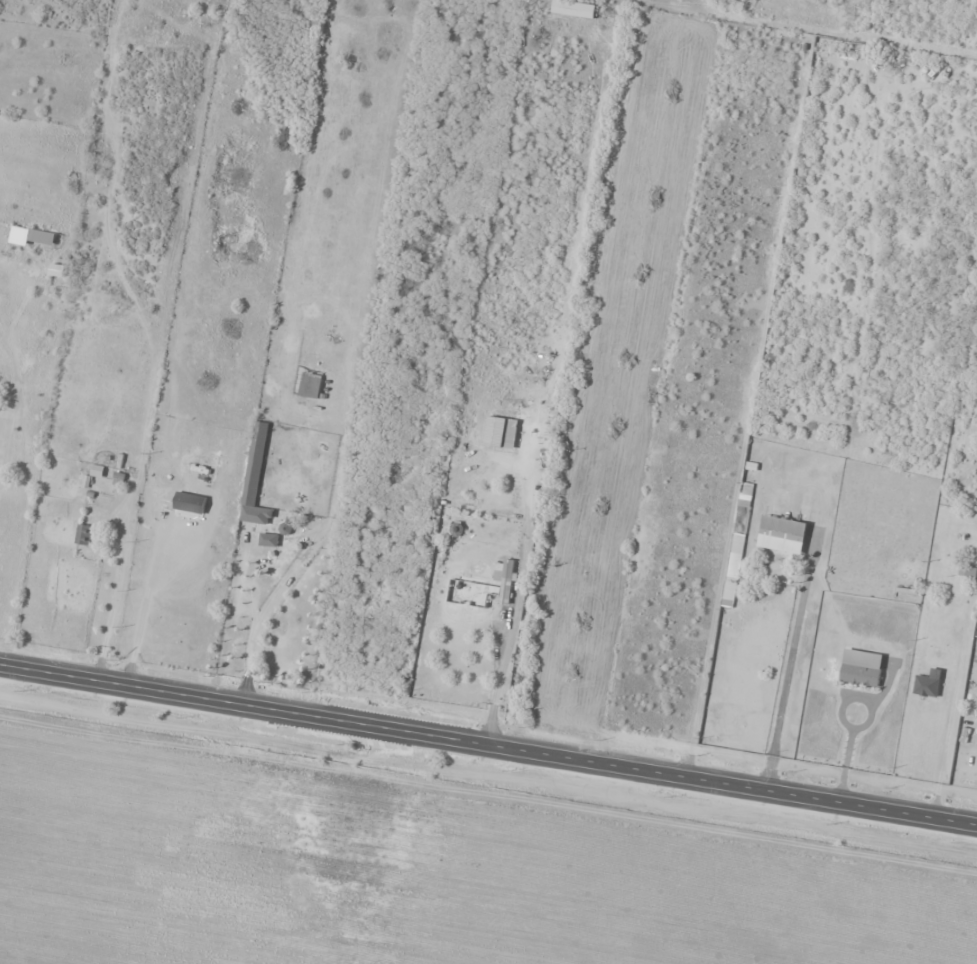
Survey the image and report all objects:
building: (837, 49)
building: (57, 271)
building: (310, 384)
building: (510, 434)
building: (255, 479)
building: (782, 533)
building: (83, 534)
building: (268, 539)
building: (502, 582)
building: (958, 588)
building: (861, 667)
road: (488, 744)

